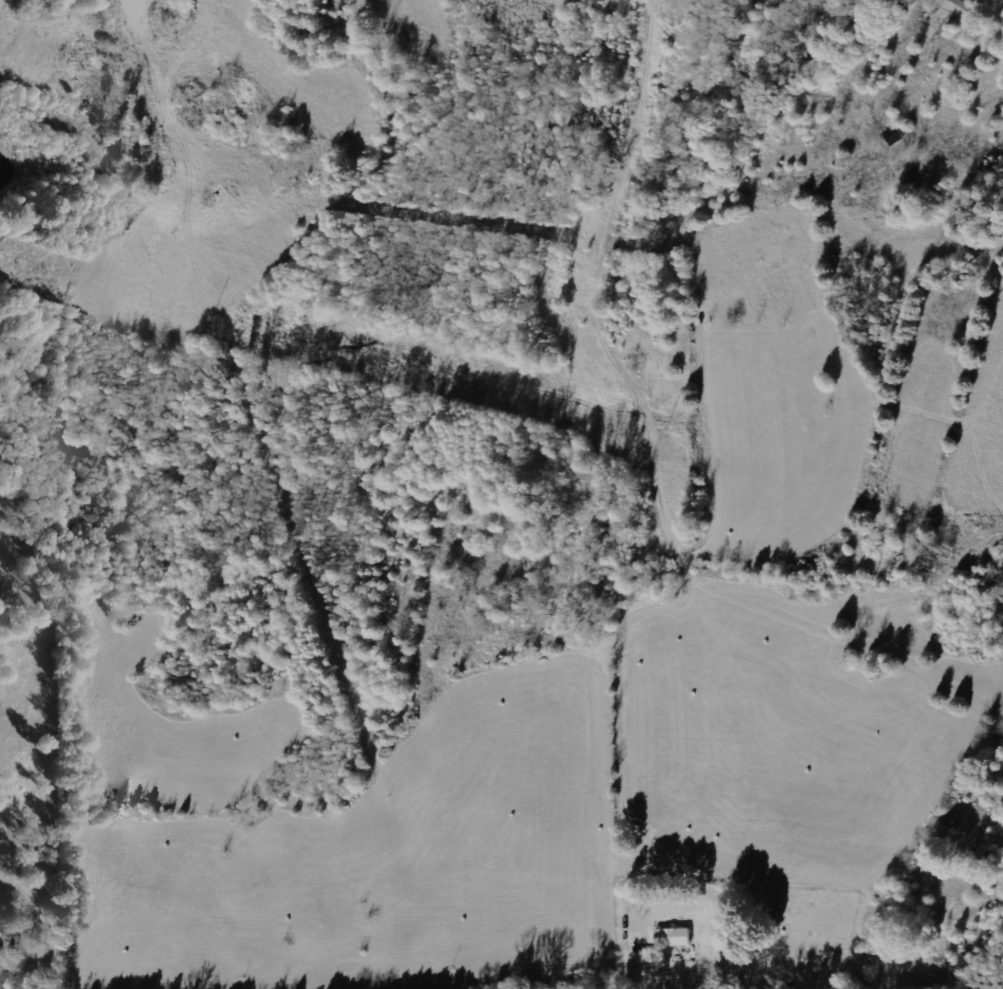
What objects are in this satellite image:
building: (955, 2)
building: (671, 937)

